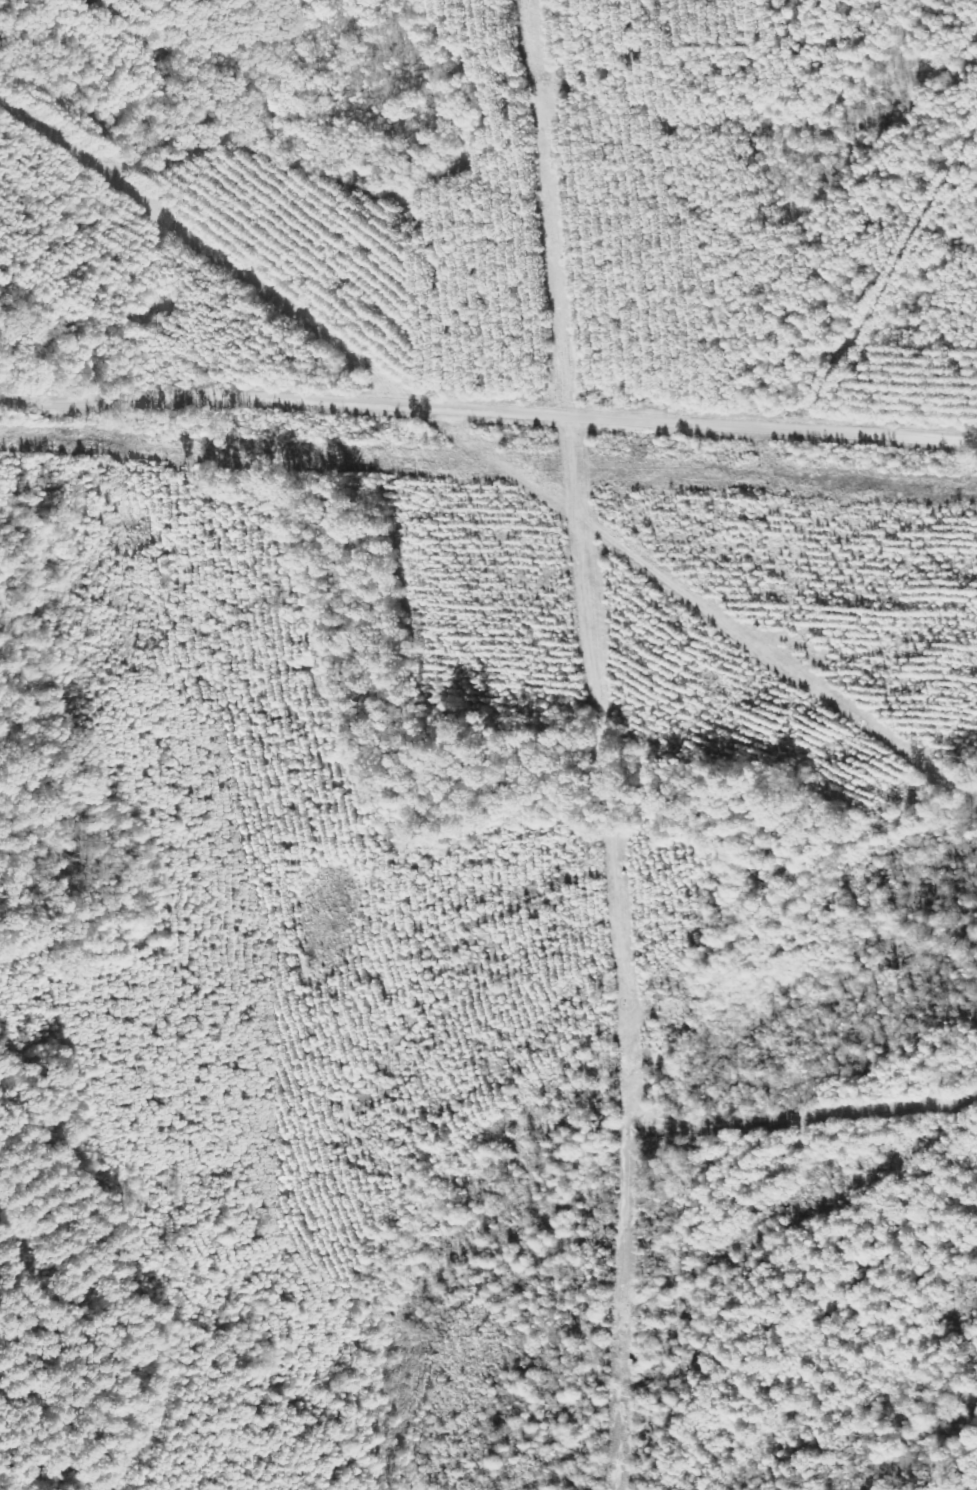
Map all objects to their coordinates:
road: (488, 409)

